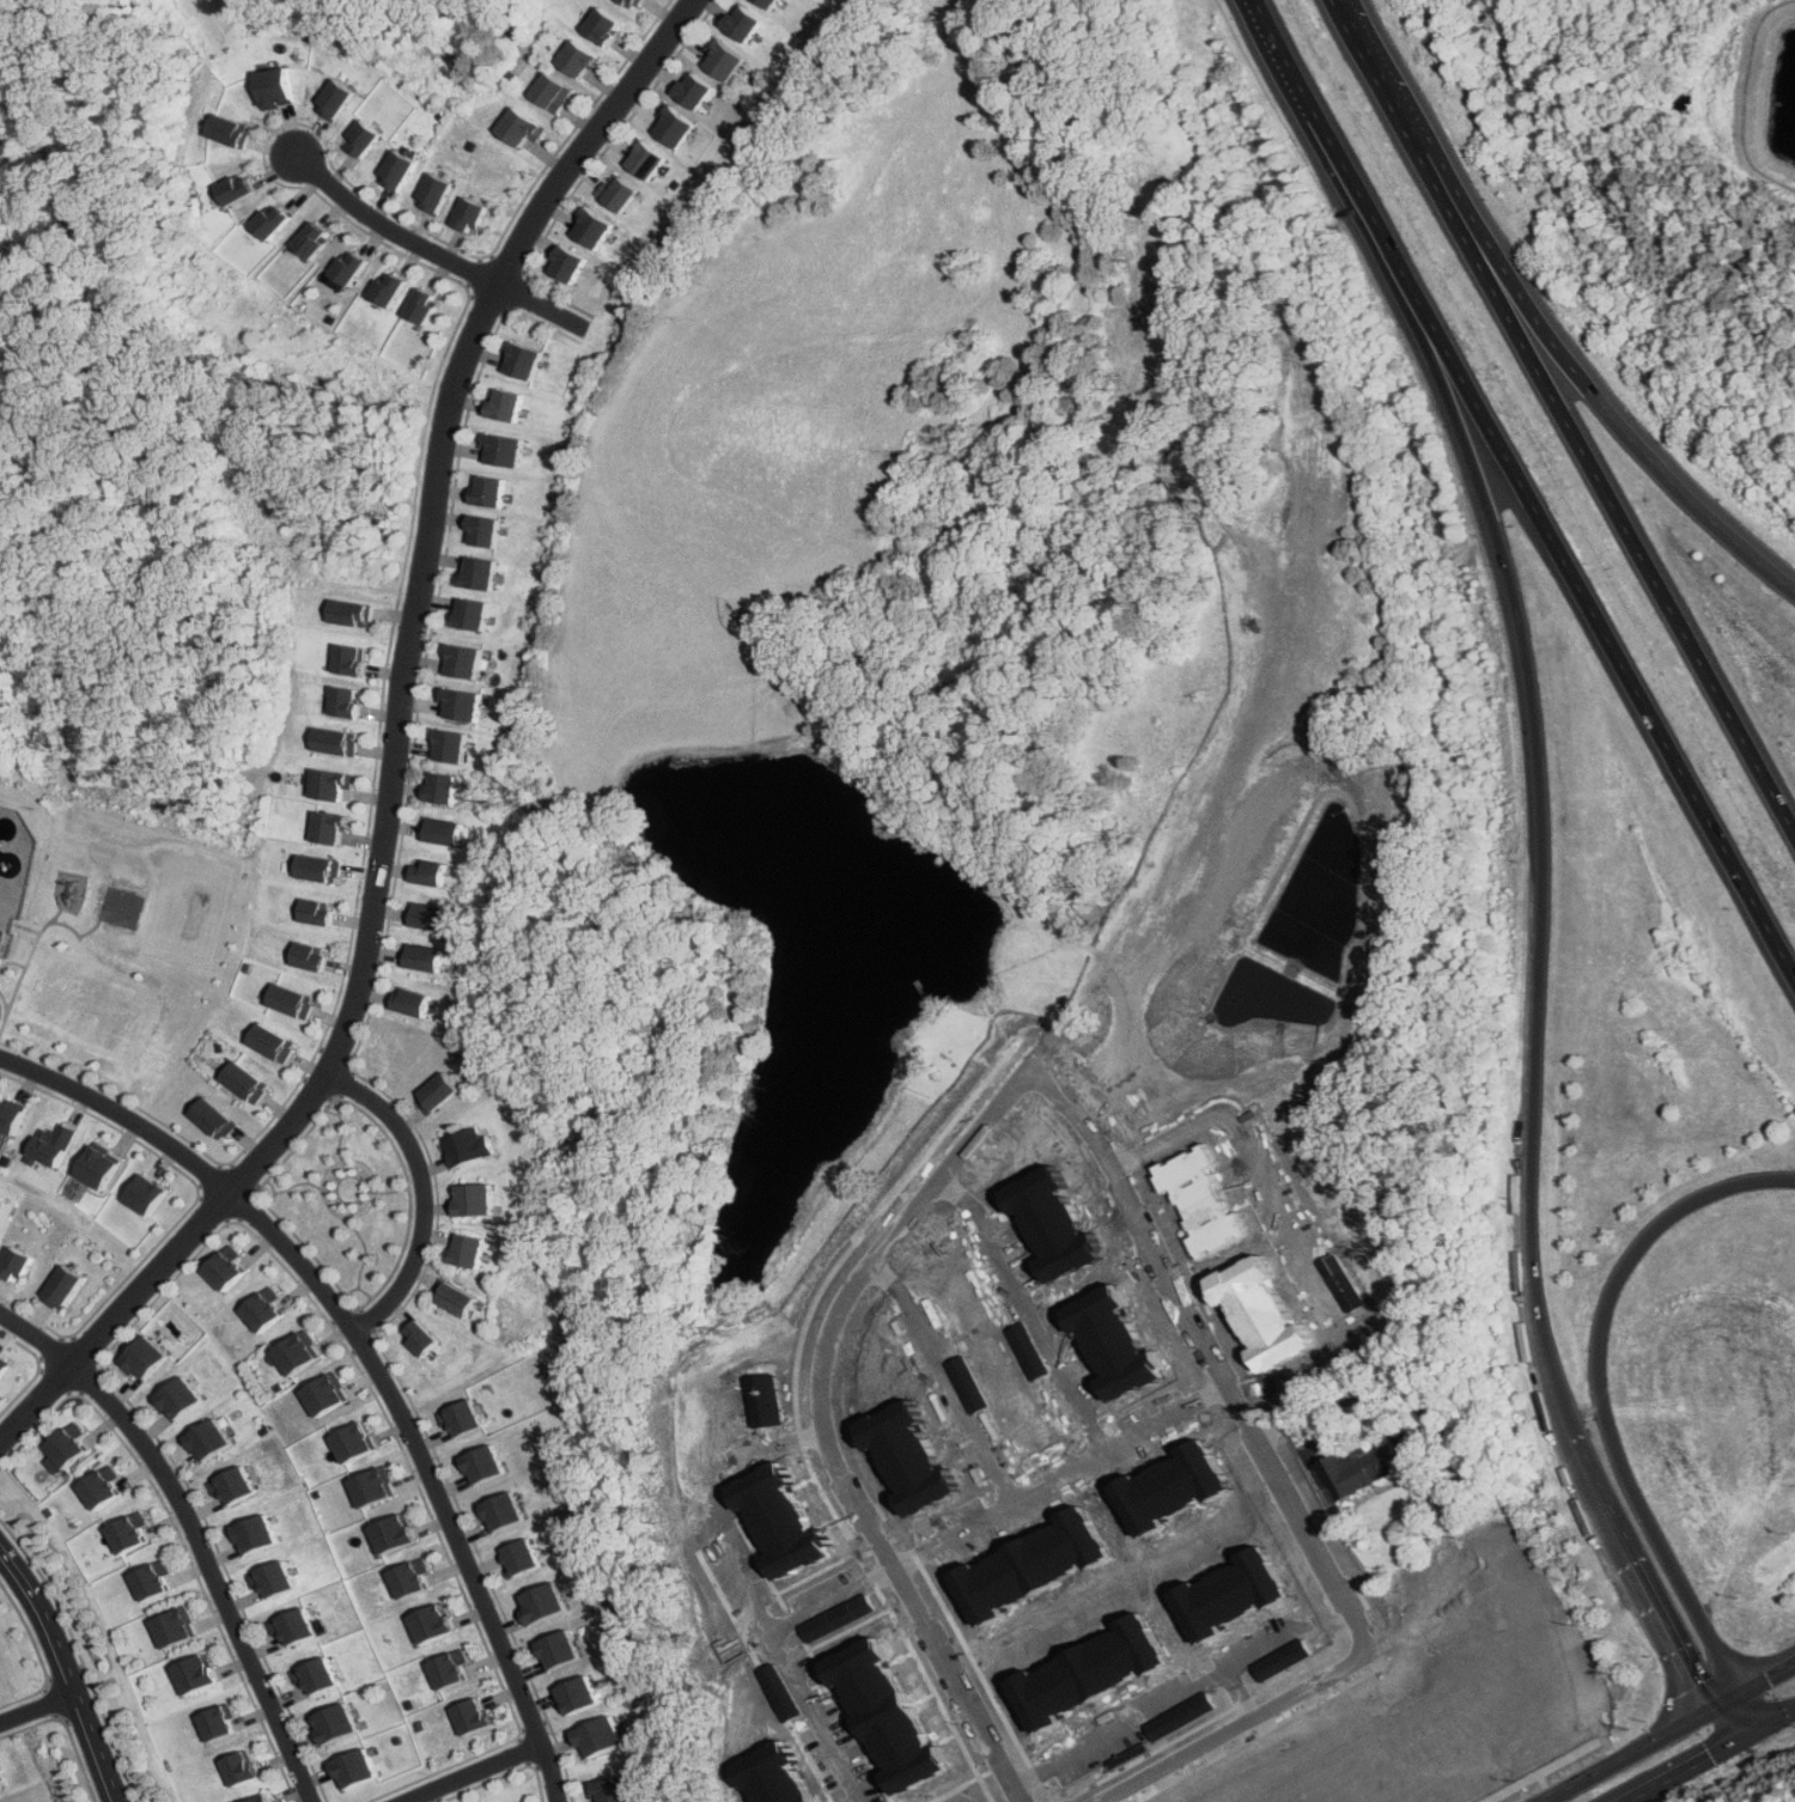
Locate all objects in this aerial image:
building: (632, 2)
building: (768, 4)
road: (1355, 23)
building: (743, 24)
building: (604, 26)
building: (576, 60)
building: (720, 61)
road: (1387, 81)
building: (274, 86)
building: (689, 91)
building: (550, 93)
building: (333, 98)
building: (518, 127)
building: (669, 127)
building: (226, 129)
road: (1321, 135)
building: (361, 139)
building: (640, 160)
building: (394, 171)
building: (237, 190)
building: (611, 193)
building: (431, 194)
building: (466, 215)
building: (273, 221)
building: (586, 230)
building: (314, 241)
road: (432, 255)
building: (561, 266)
building: (349, 269)
building: (388, 291)
building: (421, 308)
building: (521, 363)
road: (1576, 375)
building: (506, 406)
building: (504, 451)
road: (1596, 477)
building: (491, 493)
building: (483, 532)
building: (479, 574)
building: (358, 614)
building: (471, 615)
road: (1596, 622)
building: (354, 660)
building: (463, 663)
building: (347, 702)
building: (462, 706)
building: (334, 742)
road: (397, 747)
building: (449, 747)
building: (327, 785)
building: (442, 789)
building: (324, 828)
building: (437, 832)
road: (1544, 848)
building: (314, 869)
building: (427, 871)
building: (309, 912)
building: (424, 918)
building: (1, 930)
building: (420, 956)
building: (303, 958)
building: (284, 1000)
building: (407, 1000)
building: (263, 1041)
building: (236, 1083)
building: (434, 1091)
building: (8, 1116)
building: (205, 1119)
building: (48, 1145)
building: (467, 1146)
building: (95, 1165)
building: (142, 1194)
road: (421, 1194)
building: (474, 1199)
building: (466, 1249)
building: (13, 1262)
building: (223, 1267)
building: (61, 1286)
building: (455, 1299)
road: (1036, 1305)
building: (261, 1309)
building: (420, 1337)
building: (293, 1353)
building: (142, 1358)
road: (367, 1359)
building: (1170, 1360)
building: (1, 1366)
road: (950, 1376)
road: (1600, 1393)
building: (324, 1394)
building: (177, 1399)
building: (457, 1419)
road: (825, 1425)
building: (208, 1441)
building: (349, 1442)
building: (69, 1448)
building: (480, 1465)
building: (1357, 1468)
road: (1063, 1480)
road: (1286, 1480)
building: (236, 1485)
building: (107, 1486)
building: (372, 1486)
building: (1193, 1489)
road: (1596, 1503)
building: (499, 1511)
road: (197, 1530)
building: (135, 1532)
building: (390, 1533)
building: (258, 1534)
building: (518, 1557)
building: (278, 1578)
building: (409, 1578)
building: (159, 1579)
road: (835, 1600)
building: (538, 1602)
building: (428, 1623)
building: (298, 1626)
building: (180, 1627)
road: (1668, 1634)
building: (555, 1649)
building: (448, 1668)
road: (66, 1670)
road: (802, 1672)
building: (199, 1674)
building: (320, 1676)
road: (1769, 1678)
traffic signals: (1744, 1693)
building: (576, 1694)
road: (1726, 1701)
road: (37, 1709)
traffic signals: (1709, 1711)
road: (1746, 1715)
building: (469, 1716)
building: (219, 1723)
building: (335, 1723)
road: (1729, 1723)
road: (1772, 1723)
traffic signals: (1750, 1736)
building: (596, 1737)
road: (1625, 1757)
building: (242, 1767)
building: (355, 1768)
road: (1688, 1768)
road: (473, 1773)
building: (0, 1786)
building: (610, 1790)
building: (263, 1798)

